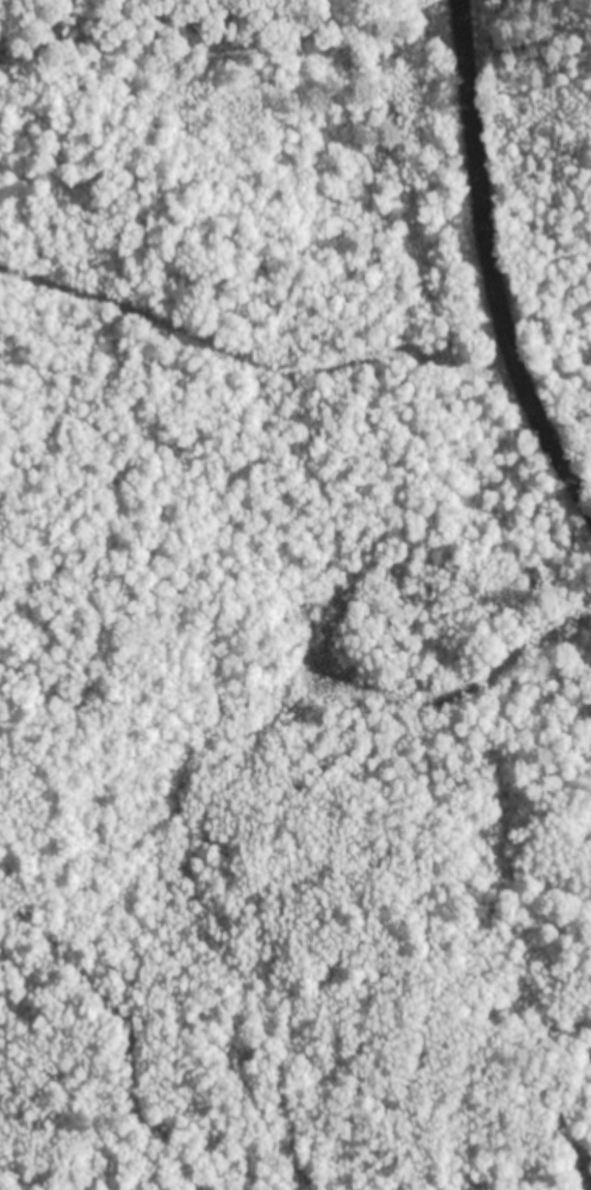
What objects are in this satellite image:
road: (465, 85)
road: (511, 348)
road: (253, 355)

